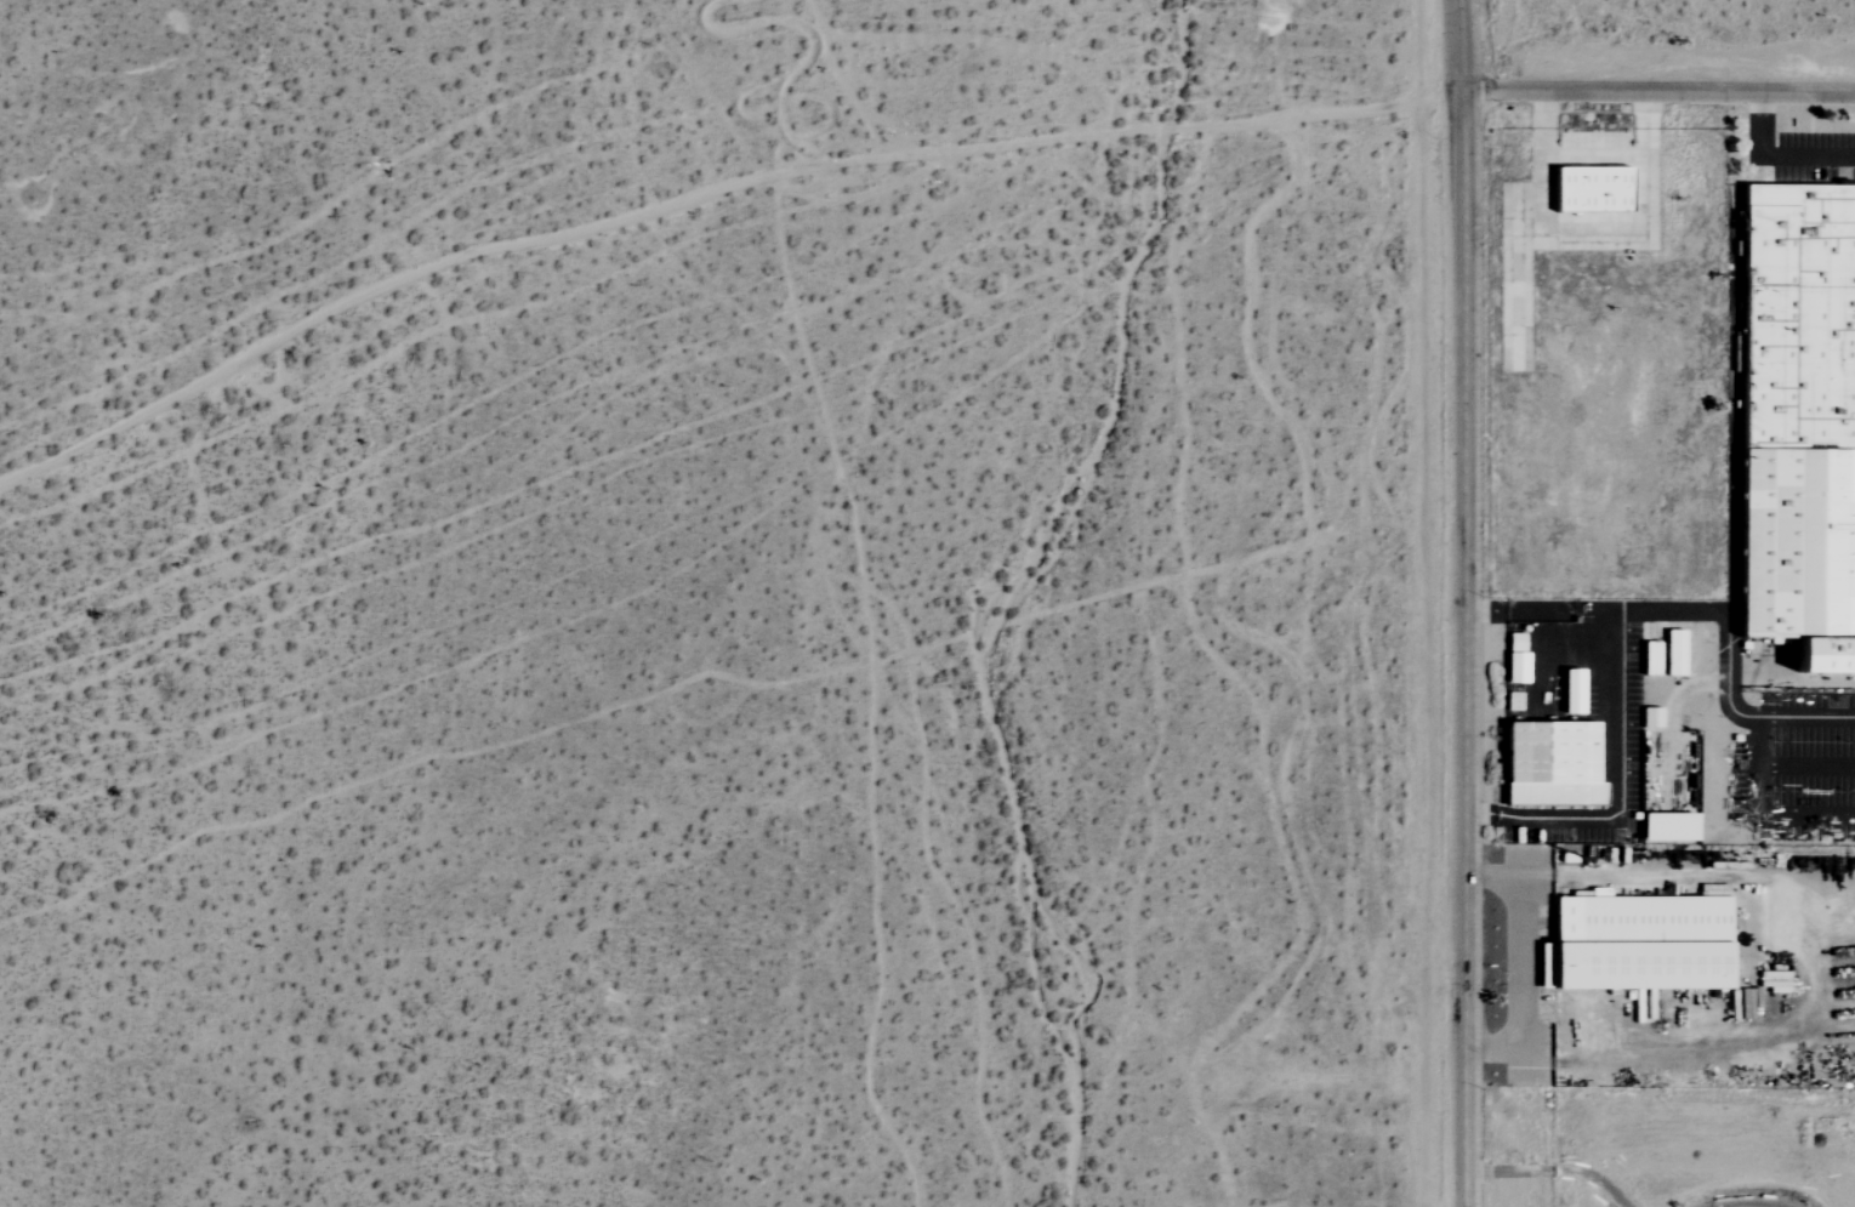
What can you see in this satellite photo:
road: (1660, 102)
road: (1593, 156)
road: (1782, 158)
building: (1588, 188)
building: (1797, 422)
road: (1467, 603)
road: (1537, 611)
road: (1643, 613)
building: (1513, 643)
building: (1671, 653)
building: (1646, 657)
building: (1514, 667)
building: (1569, 691)
building: (1649, 717)
road: (1808, 717)
building: (1548, 764)
road: (1806, 767)
building: (1665, 826)
building: (1640, 945)
road: (1521, 962)

